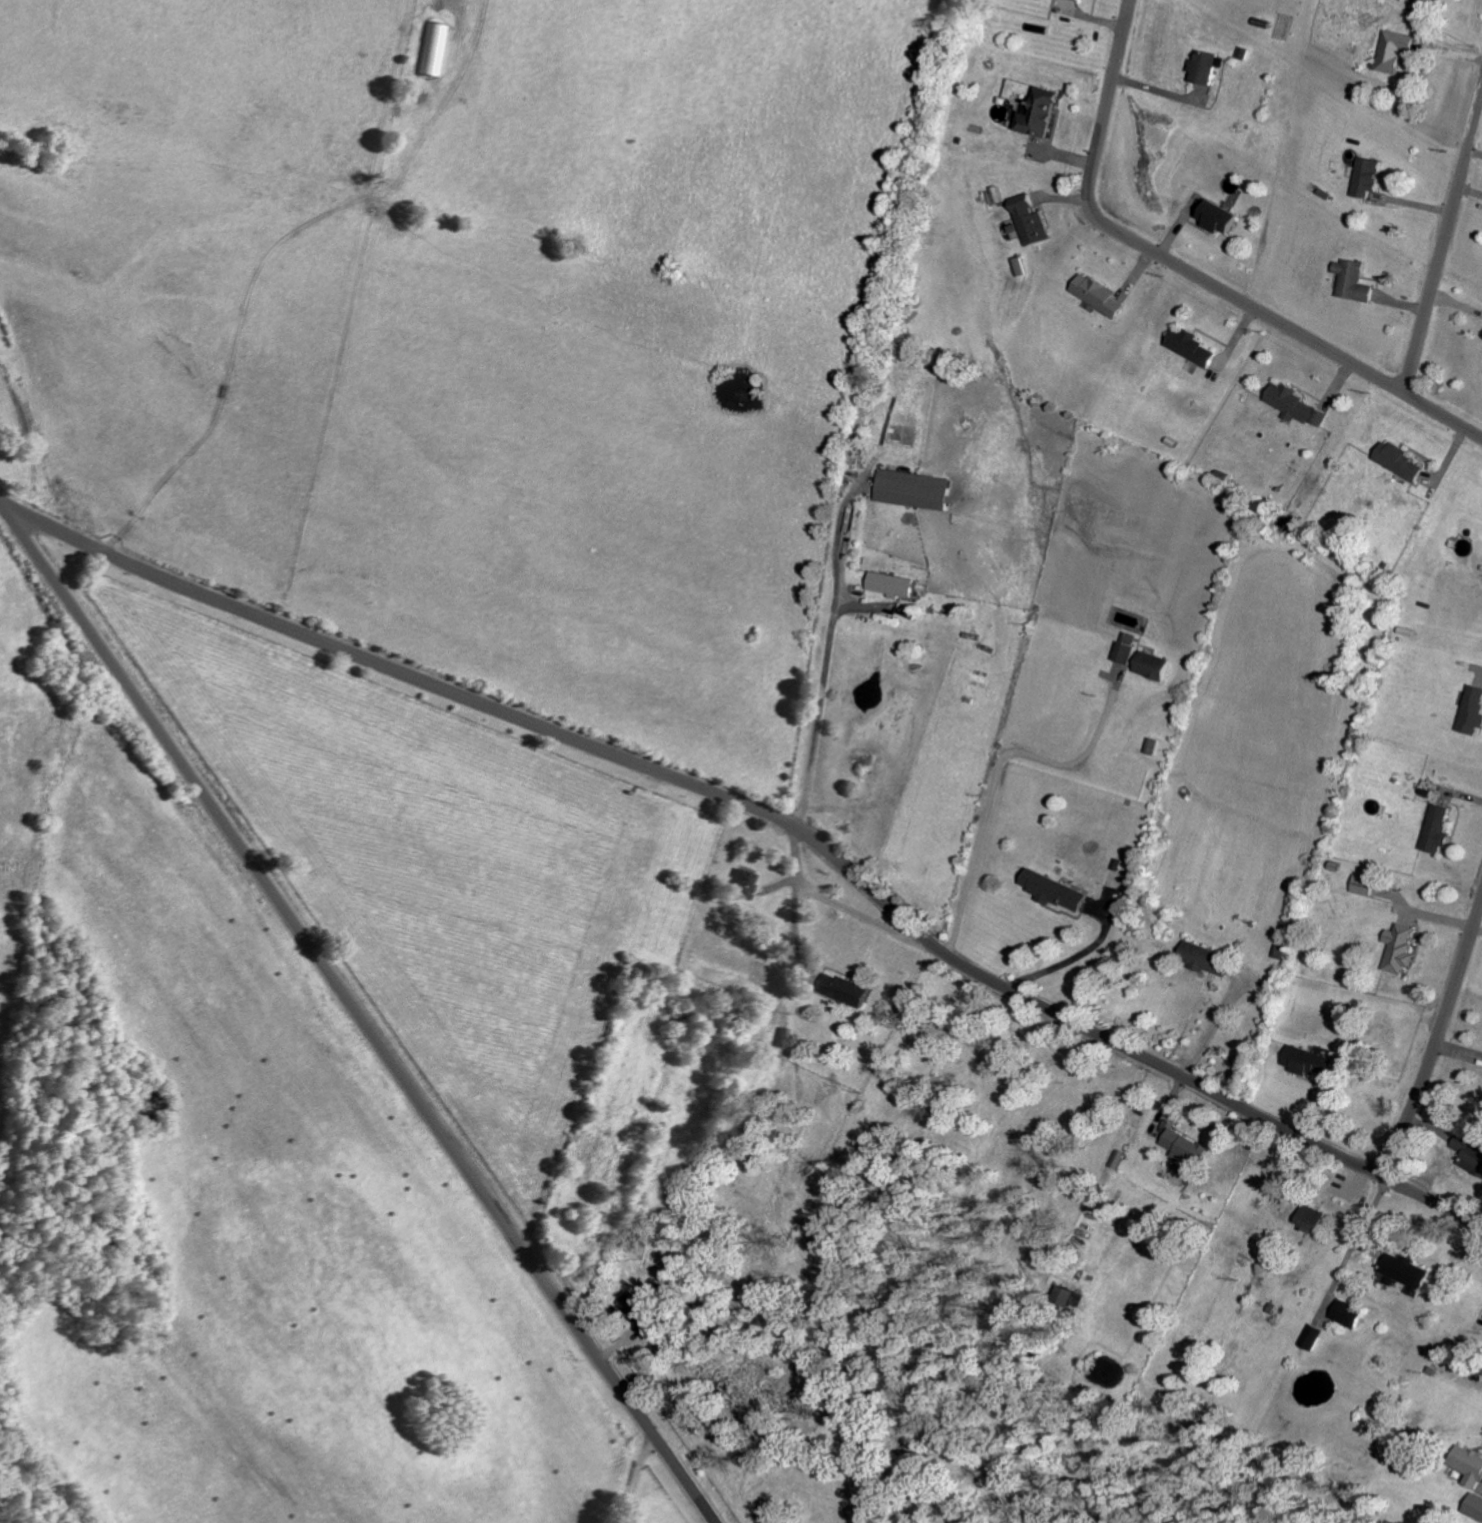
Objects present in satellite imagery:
building: (1081, 0)
building: (432, 50)
building: (1395, 51)
building: (1206, 68)
building: (1039, 113)
building: (1367, 178)
road: (1470, 190)
building: (1219, 218)
building: (1030, 221)
road: (1443, 242)
road: (1192, 272)
building: (1353, 282)
building: (1098, 295)
building: (1191, 347)
building: (1295, 406)
building: (1399, 462)
building: (913, 490)
road: (14, 521)
building: (891, 585)
building: (1125, 647)
road: (825, 661)
building: (1152, 665)
building: (1472, 710)
building: (1151, 746)
road: (993, 766)
road: (769, 814)
building: (1437, 829)
building: (742, 883)
building: (1363, 885)
building: (1053, 891)
building: (1399, 948)
road: (1073, 959)
building: (1204, 959)
building: (845, 990)
road: (1211, 1028)
road: (373, 1031)
road: (1438, 1039)
building: (1311, 1062)
building: (1186, 1148)
building: (1470, 1153)
building: (1313, 1218)
building: (1408, 1272)
building: (1064, 1295)
building: (636, 1310)
building: (1348, 1314)
building: (1311, 1337)
building: (1469, 1466)
road: (641, 1478)
building: (1475, 1507)

